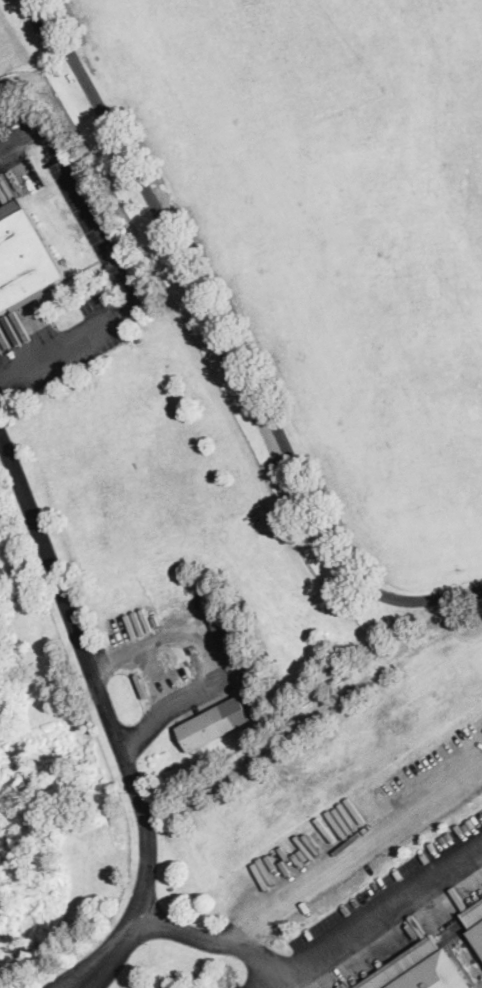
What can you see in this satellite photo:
parking lot: (92, 219)
park: (319, 249)
building: (24, 259)
road: (123, 263)
road: (235, 345)
parking lot: (253, 411)
building: (209, 611)
building: (227, 642)
road: (211, 658)
road: (108, 716)
building: (208, 727)
road: (357, 851)
parking lot: (380, 917)
road: (380, 918)
building: (475, 923)
road: (216, 941)
building: (421, 969)

